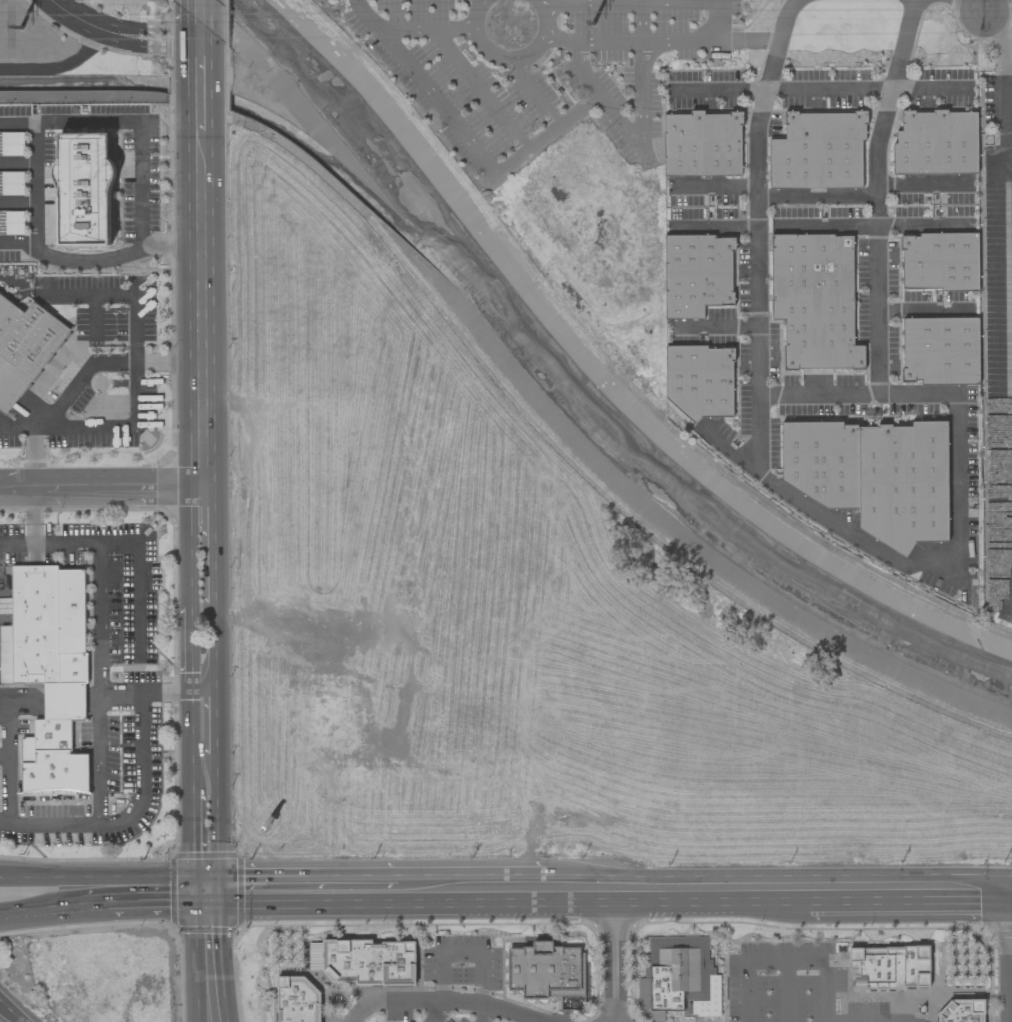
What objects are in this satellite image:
road: (629, 0)
road: (795, 1)
road: (984, 6)
road: (201, 12)
road: (716, 19)
road: (641, 20)
power tower: (593, 23)
road: (422, 27)
power tower: (17, 29)
road: (202, 32)
road: (123, 35)
road: (629, 40)
road: (203, 57)
road: (1006, 57)
road: (508, 62)
road: (57, 67)
road: (423, 88)
road: (479, 90)
road: (820, 90)
road: (1000, 94)
road: (533, 97)
road: (204, 102)
road: (628, 132)
road: (549, 134)
building: (936, 143)
building: (11, 144)
building: (702, 144)
building: (818, 151)
road: (36, 156)
building: (11, 183)
road: (922, 184)
building: (84, 189)
road: (818, 197)
road: (875, 197)
road: (759, 234)
road: (18, 241)
building: (939, 262)
building: (697, 274)
road: (134, 293)
building: (815, 300)
road: (204, 307)
road: (95, 315)
building: (24, 348)
building: (940, 350)
road: (81, 378)
building: (700, 381)
road: (816, 399)
road: (915, 399)
road: (8, 427)
road: (107, 427)
building: (874, 476)
road: (102, 488)
road: (957, 492)
road: (858, 529)
road: (16, 540)
road: (211, 545)
road: (194, 546)
road: (1009, 560)
road: (139, 581)
road: (99, 616)
road: (214, 650)
road: (192, 651)
building: (49, 670)
road: (5, 699)
road: (5, 707)
road: (215, 724)
road: (193, 745)
road: (3, 758)
road: (99, 759)
road: (4, 822)
road: (217, 823)
road: (71, 824)
road: (196, 844)
road: (100, 877)
traffic signals: (197, 893)
road: (208, 893)
traffic signals: (219, 893)
road: (308, 894)
road: (471, 895)
road: (676, 897)
road: (910, 898)
road: (154, 904)
road: (96, 907)
road: (40, 911)
road: (462, 953)
road: (195, 957)
road: (220, 957)
road: (613, 959)
building: (364, 961)
road: (787, 963)
building: (889, 967)
building: (545, 973)
building: (680, 976)
road: (787, 992)
road: (453, 998)
building: (297, 999)
road: (11, 1009)
road: (358, 1011)
road: (438, 1011)
building: (964, 1012)
road: (484, 1013)
parking lot: (427, 1016)
road: (23, 1021)
road: (865, 1021)

